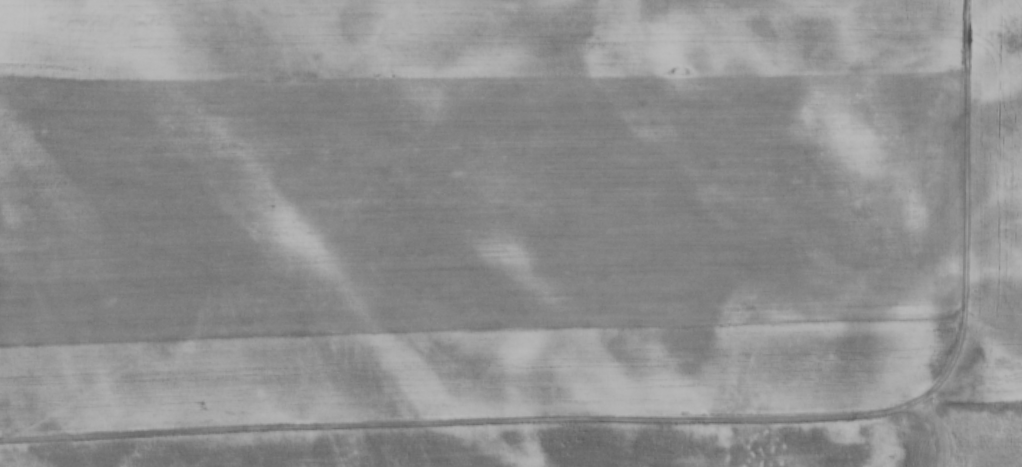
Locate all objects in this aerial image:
road: (968, 211)
road: (464, 418)
road: (927, 437)

